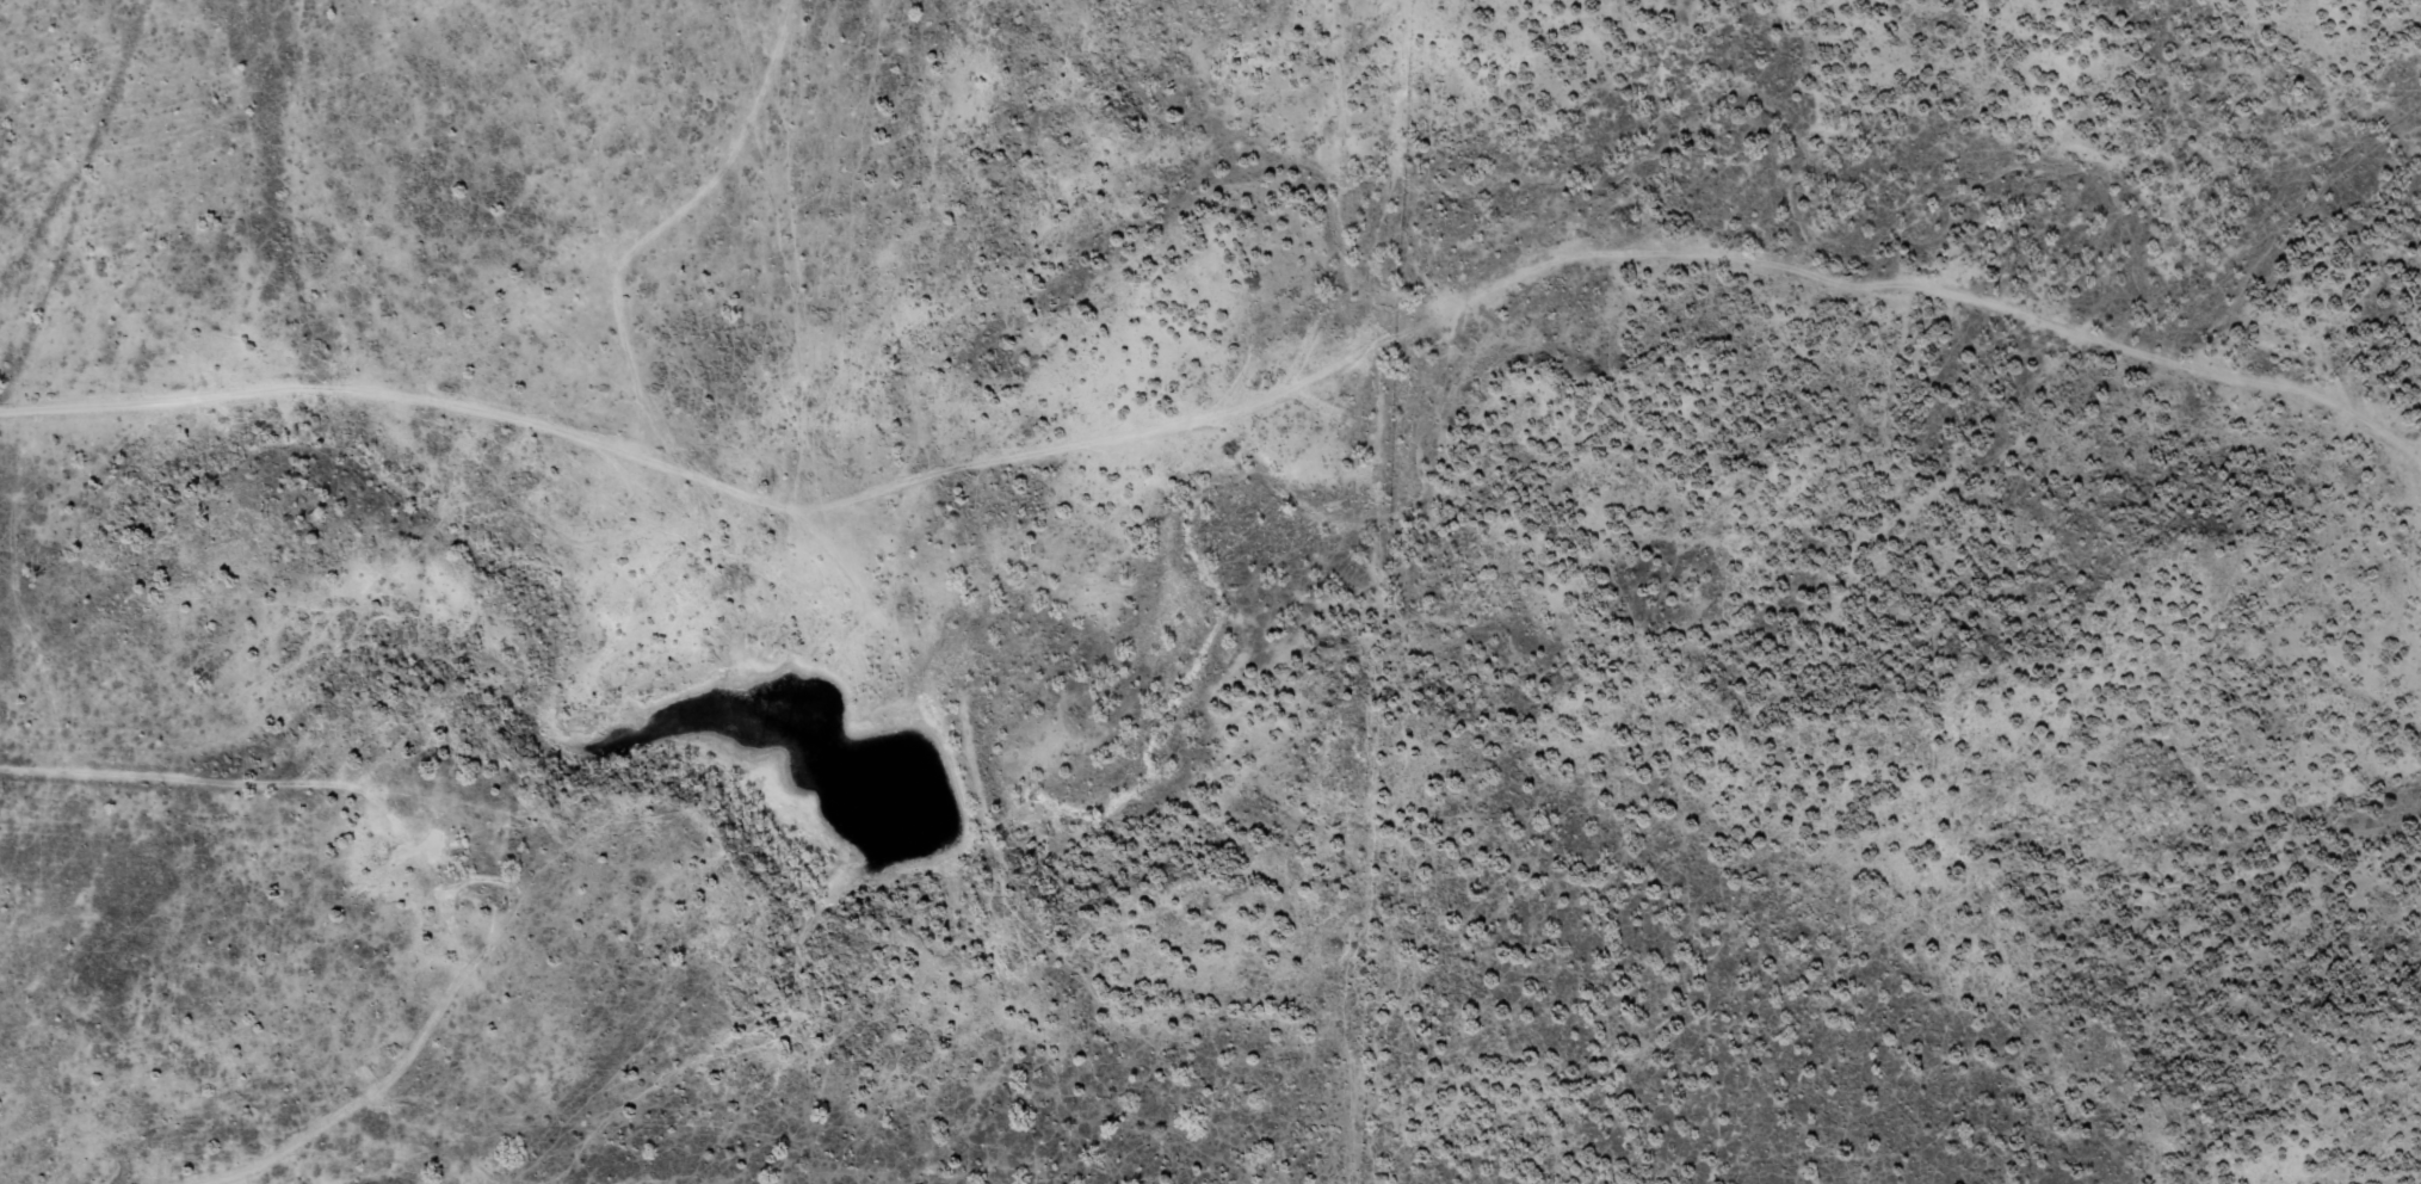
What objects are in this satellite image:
road: (231, 788)

